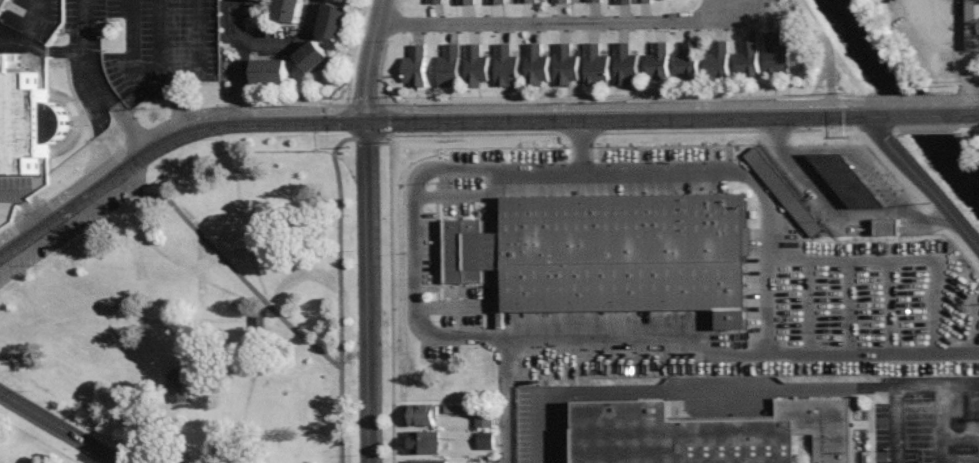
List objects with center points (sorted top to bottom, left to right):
building: (265, 0)
building: (347, 0)
building: (432, 0)
building: (592, 0)
building: (463, 1)
building: (495, 1)
building: (526, 1)
building: (561, 1)
building: (621, 1)
building: (641, 1)
building: (2, 4)
building: (287, 11)
road: (555, 18)
road: (310, 20)
building: (333, 21)
road: (390, 22)
road: (32, 24)
building: (972, 24)
parking lot: (31, 25)
parking lot: (935, 31)
parking lot: (150, 39)
road: (252, 43)
road: (825, 47)
road: (42, 49)
building: (773, 50)
road: (955, 52)
road: (197, 56)
building: (312, 56)
road: (245, 58)
building: (718, 58)
building: (656, 59)
building: (747, 59)
road: (368, 60)
building: (474, 61)
building: (534, 61)
building: (595, 61)
building: (687, 61)
building: (626, 62)
building: (447, 63)
building: (505, 63)
building: (564, 63)
building: (413, 64)
building: (270, 71)
road: (144, 73)
road: (97, 83)
road: (910, 97)
road: (956, 97)
road: (971, 97)
road: (596, 99)
road: (180, 104)
road: (346, 104)
road: (610, 105)
road: (847, 106)
road: (364, 108)
road: (969, 111)
road: (847, 112)
road: (869, 112)
road: (917, 112)
road: (597, 115)
building: (26, 118)
road: (976, 124)
road: (216, 125)
road: (935, 126)
road: (875, 128)
road: (824, 129)
road: (775, 130)
road: (155, 131)
road: (679, 131)
road: (581, 133)
road: (386, 137)
road: (579, 141)
road: (252, 151)
road: (711, 167)
road: (871, 168)
building: (846, 180)
road: (922, 180)
road: (905, 181)
parking lot: (14, 187)
building: (781, 191)
road: (464, 195)
road: (820, 197)
road: (24, 204)
road: (390, 213)
road: (44, 224)
parking lot: (74, 225)
building: (886, 226)
parking lot: (422, 251)
road: (969, 253)
building: (609, 254)
road: (340, 259)
road: (905, 263)
road: (364, 292)
road: (467, 305)
road: (278, 306)
road: (808, 307)
road: (846, 307)
road: (890, 307)
road: (934, 307)
road: (767, 308)
parking lot: (860, 308)
park: (193, 312)
road: (540, 334)
building: (177, 389)
road: (505, 398)
parking lot: (771, 412)
building: (421, 414)
building: (484, 418)
road: (60, 427)
building: (710, 432)
building: (485, 440)
building: (421, 441)
building: (568, 452)
building: (426, 461)

